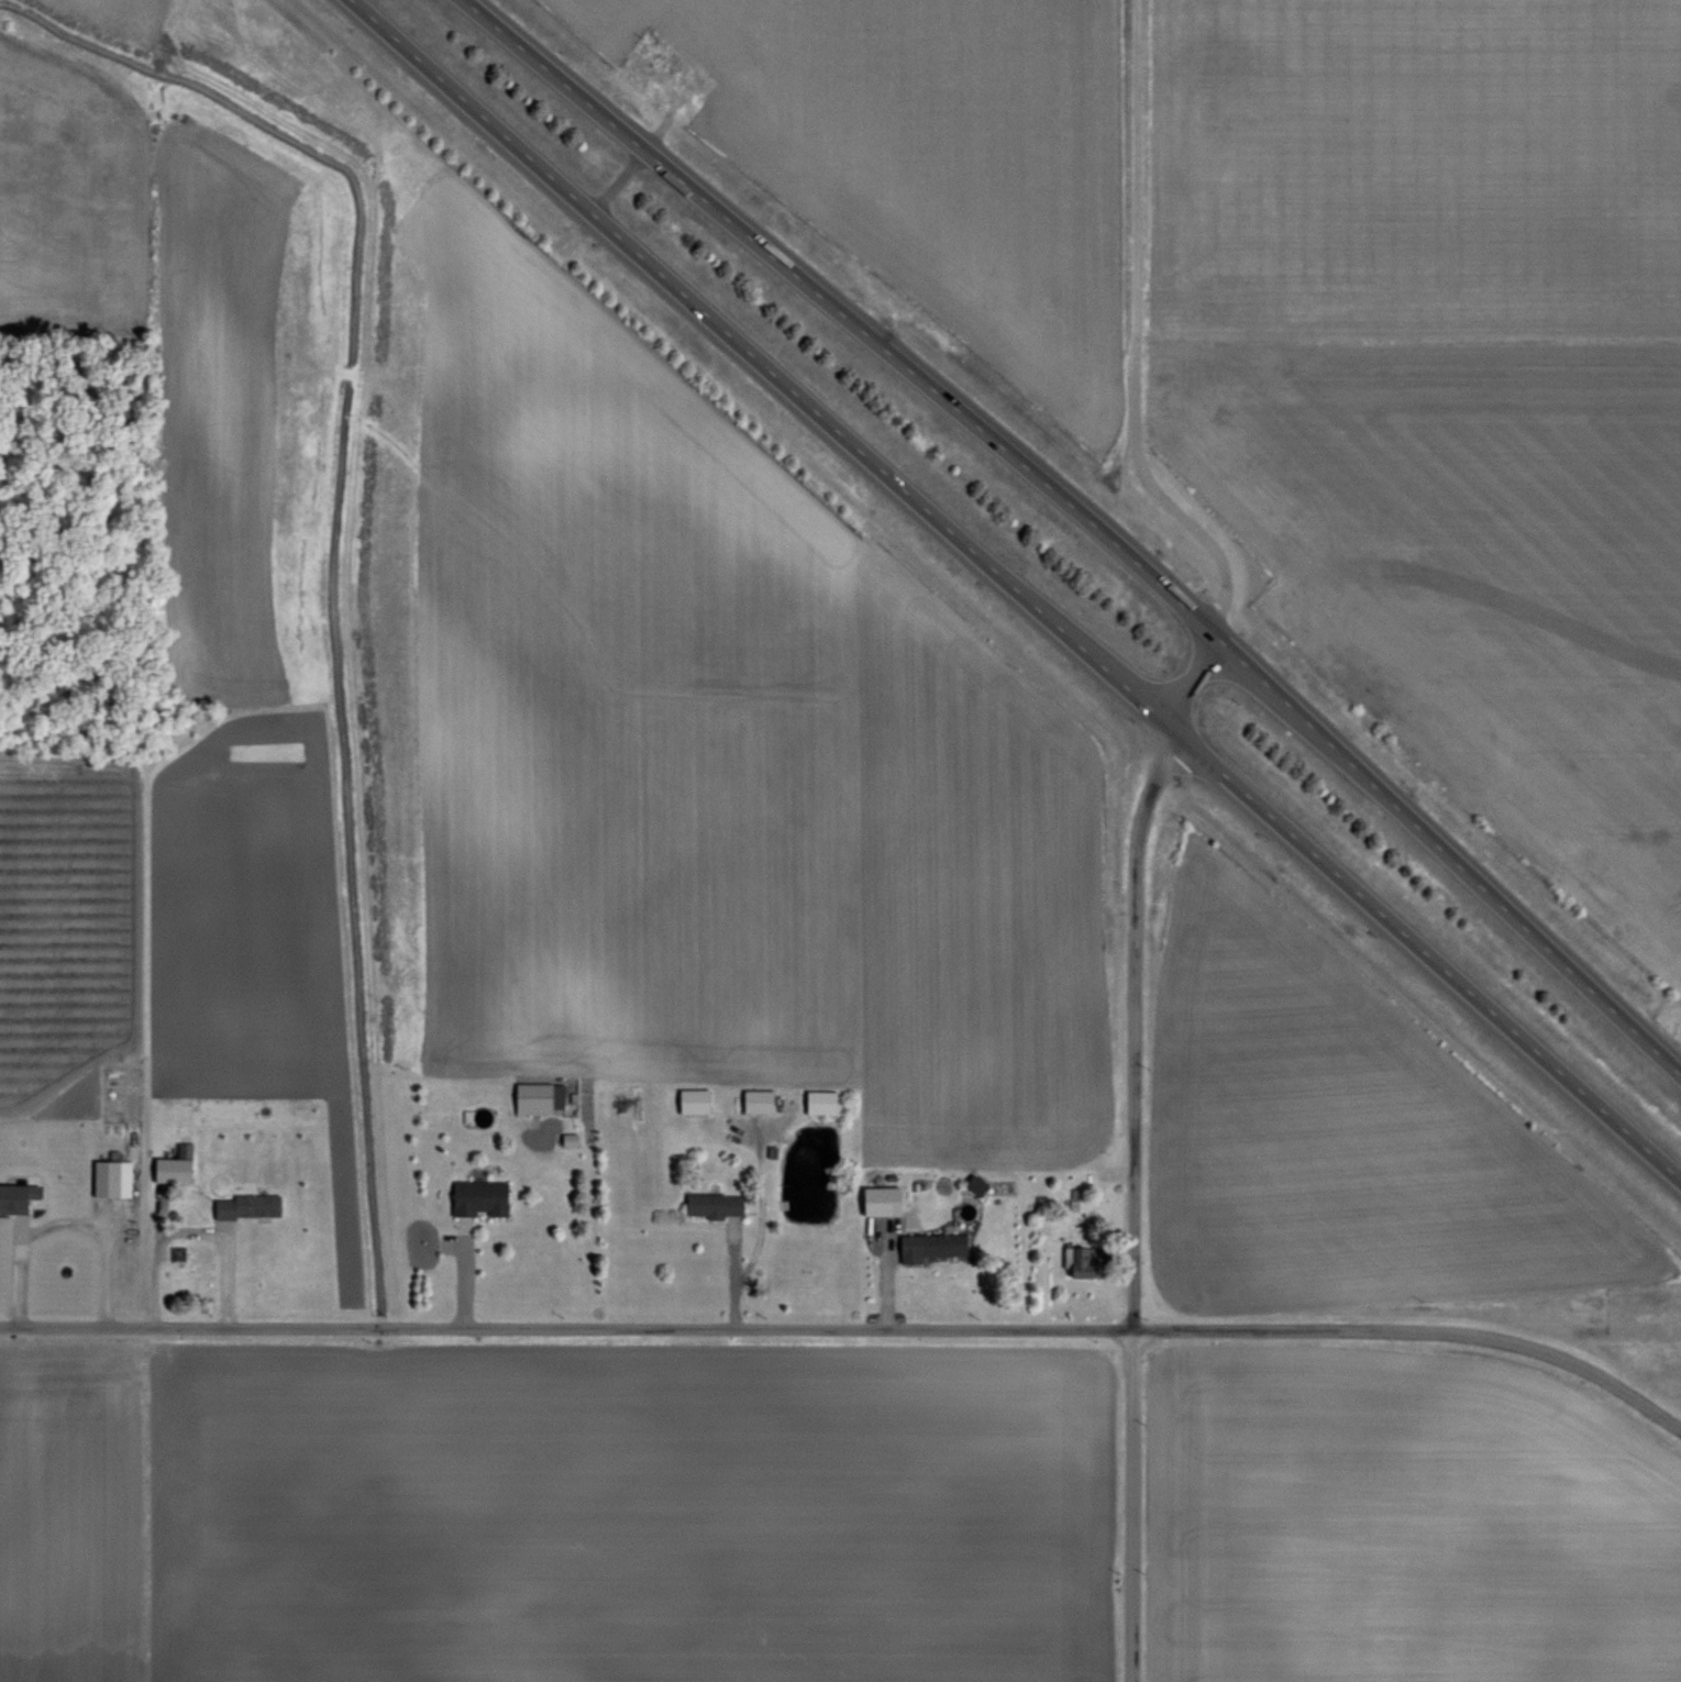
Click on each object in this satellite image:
road: (637, 151)
road: (1091, 517)
road: (1013, 593)
road: (1139, 819)
park: (1670, 1017)
building: (538, 1095)
building: (694, 1098)
building: (757, 1099)
building: (821, 1100)
building: (175, 1164)
building: (112, 1176)
building: (975, 1182)
building: (480, 1195)
building: (19, 1196)
building: (883, 1198)
building: (715, 1203)
building: (247, 1204)
road: (60, 1220)
road: (189, 1229)
building: (931, 1243)
building: (1079, 1257)
road: (852, 1326)

